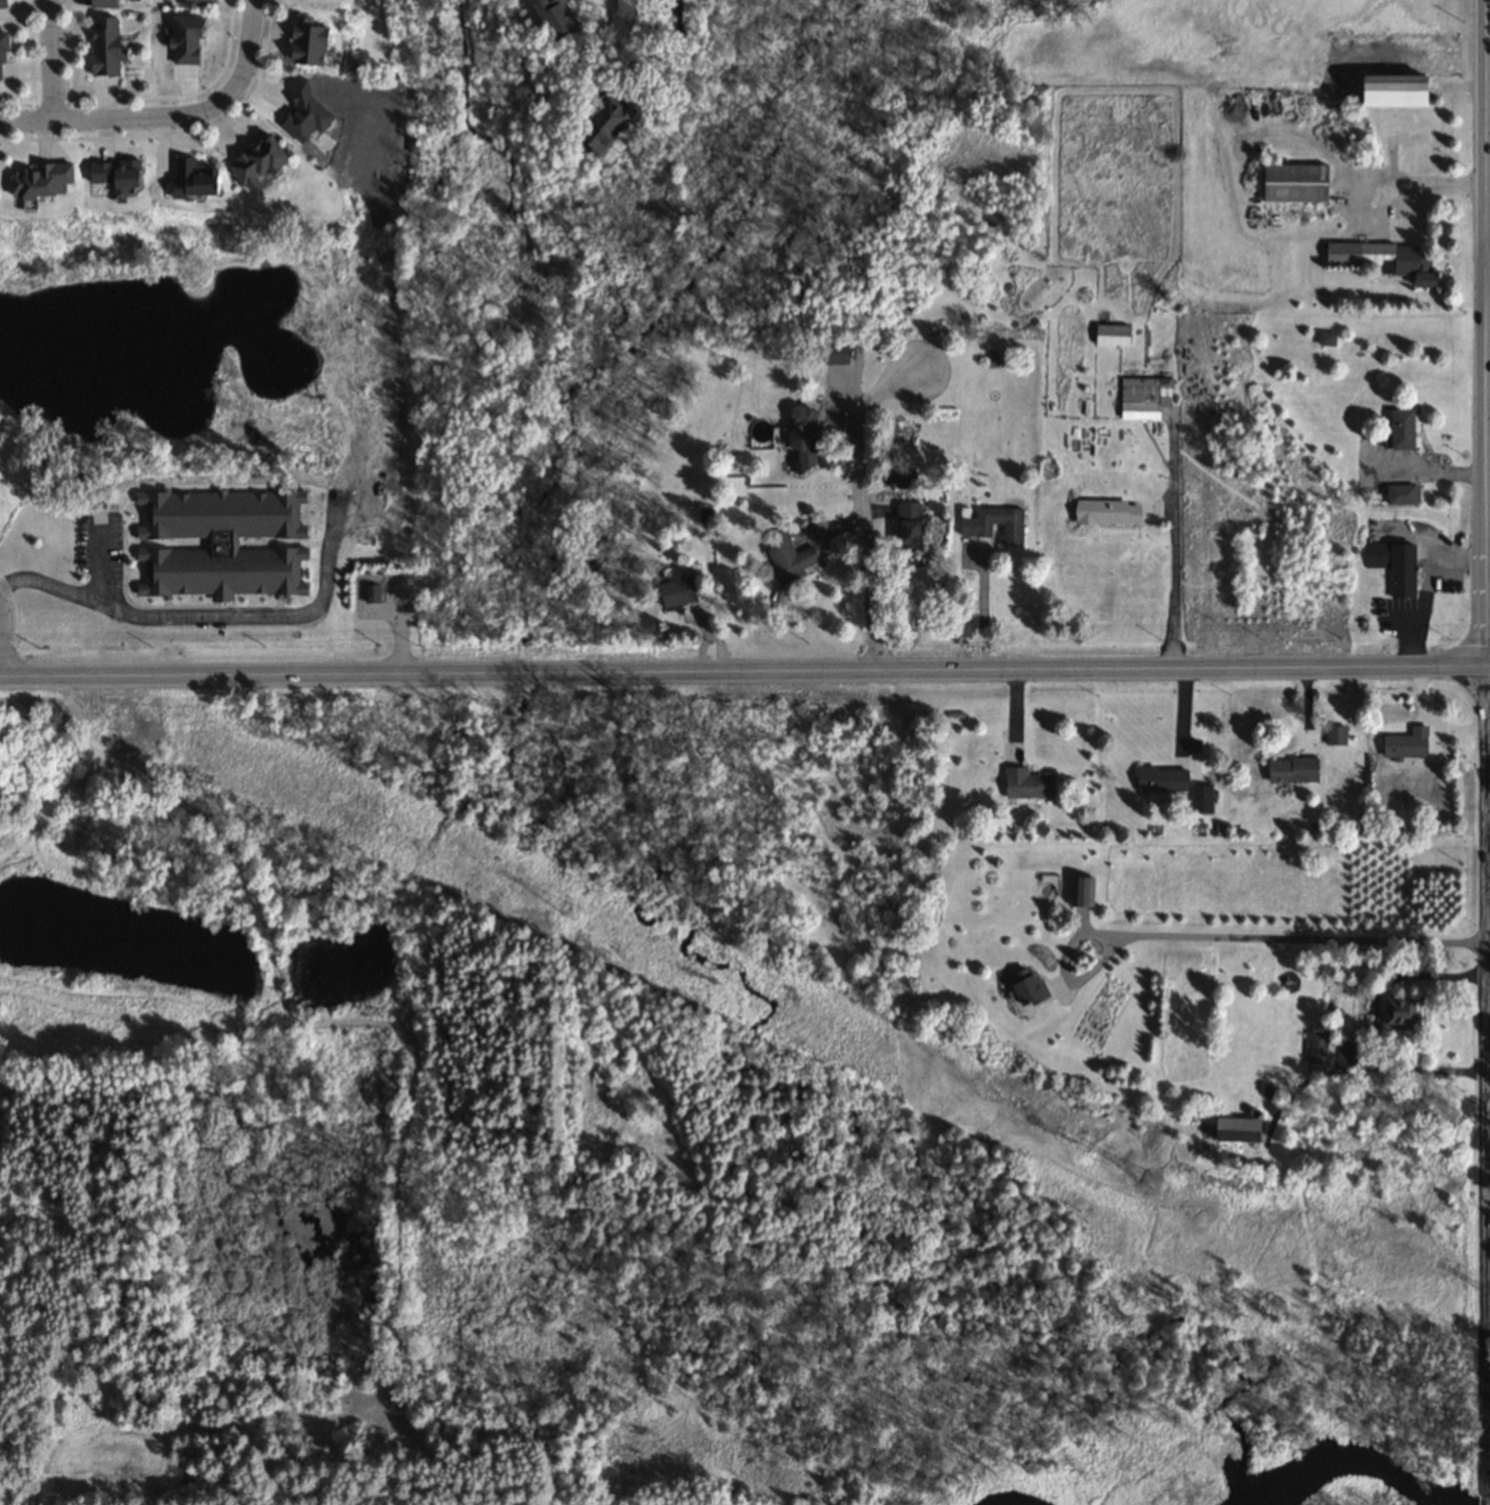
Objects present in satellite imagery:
building: (190, 0)
building: (106, 2)
building: (553, 16)
building: (304, 41)
building: (102, 45)
building: (1, 46)
road: (51, 60)
building: (1390, 90)
road: (167, 116)
building: (600, 123)
building: (251, 161)
building: (187, 178)
building: (26, 181)
building: (1293, 182)
road: (1485, 231)
road: (1488, 239)
building: (1384, 258)
building: (1110, 334)
building: (1325, 337)
building: (1143, 396)
building: (1400, 428)
building: (898, 474)
building: (1401, 494)
road: (862, 504)
building: (1105, 511)
building: (994, 523)
building: (907, 525)
building: (788, 558)
road: (101, 564)
road: (1488, 564)
building: (1393, 566)
building: (219, 570)
building: (675, 591)
road: (983, 609)
road: (152, 614)
road: (1, 646)
road: (1489, 665)
road: (744, 670)
building: (1335, 735)
building: (1405, 744)
building: (1292, 770)
building: (1161, 779)
building: (1026, 783)
building: (1201, 799)
building: (1082, 892)
power tower: (571, 910)
road: (1215, 936)
building: (1024, 987)
road: (1488, 1001)
building: (1397, 1013)
building: (1314, 1048)
road: (1486, 1085)
building: (1232, 1131)
power tower: (1152, 1180)
river: (1376, 1496)

